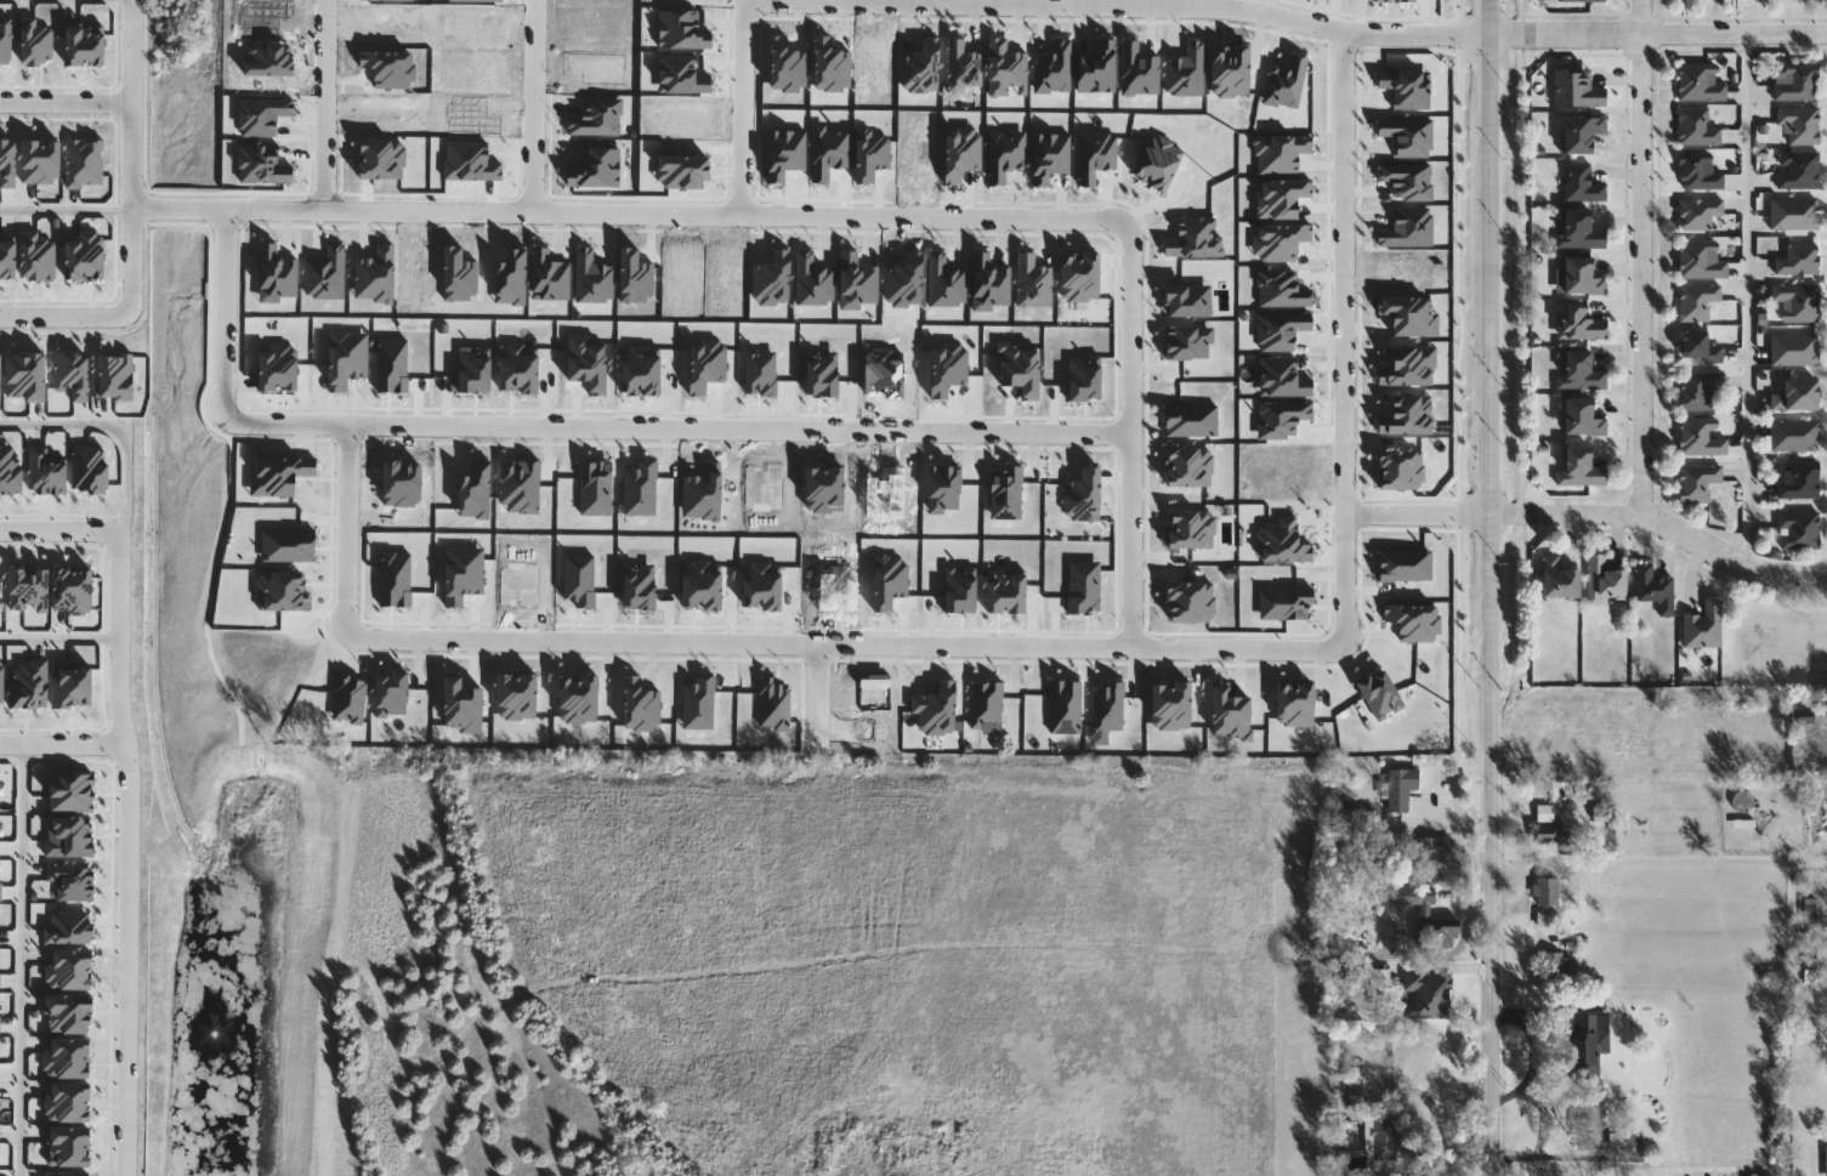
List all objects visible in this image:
building: (1581, 0)
road: (1345, 33)
building: (1794, 80)
building: (1698, 83)
building: (1576, 87)
road: (64, 104)
road: (325, 104)
road: (537, 107)
road: (742, 107)
building: (1798, 123)
building: (1696, 126)
building: (1579, 132)
road: (130, 158)
building: (1797, 170)
building: (1697, 171)
building: (1581, 182)
road: (64, 208)
building: (1697, 212)
building: (1793, 212)
road: (629, 214)
building: (1579, 229)
road: (1642, 255)
building: (1700, 259)
building: (1798, 260)
building: (1581, 275)
building: (1797, 300)
building: (1696, 301)
road: (1752, 301)
road: (66, 314)
road: (223, 314)
building: (1579, 323)
road: (1343, 341)
building: (1697, 347)
building: (1794, 350)
building: (1579, 370)
building: (1698, 388)
building: (1797, 394)
building: (1581, 416)
road: (675, 426)
road: (109, 428)
road: (1130, 432)
building: (1794, 434)
building: (1701, 436)
building: (1579, 466)
building: (1800, 481)
building: (1696, 482)
road: (1594, 510)
road: (345, 529)
building: (1798, 529)
road: (59, 530)
building: (1558, 579)
building: (1602, 580)
road: (1487, 587)
building: (1653, 587)
building: (1702, 625)
road: (58, 637)
road: (844, 642)
building: (1613, 732)
building: (1538, 738)
road: (63, 744)
building: (1402, 789)
building: (1550, 828)
road: (1802, 843)
road: (127, 853)
building: (1434, 854)
building: (1548, 903)
building: (1428, 917)
road: (22, 960)
building: (1556, 964)
building: (1589, 1044)
fountain: (221, 1046)
building: (1589, 1126)
building: (1386, 1141)

